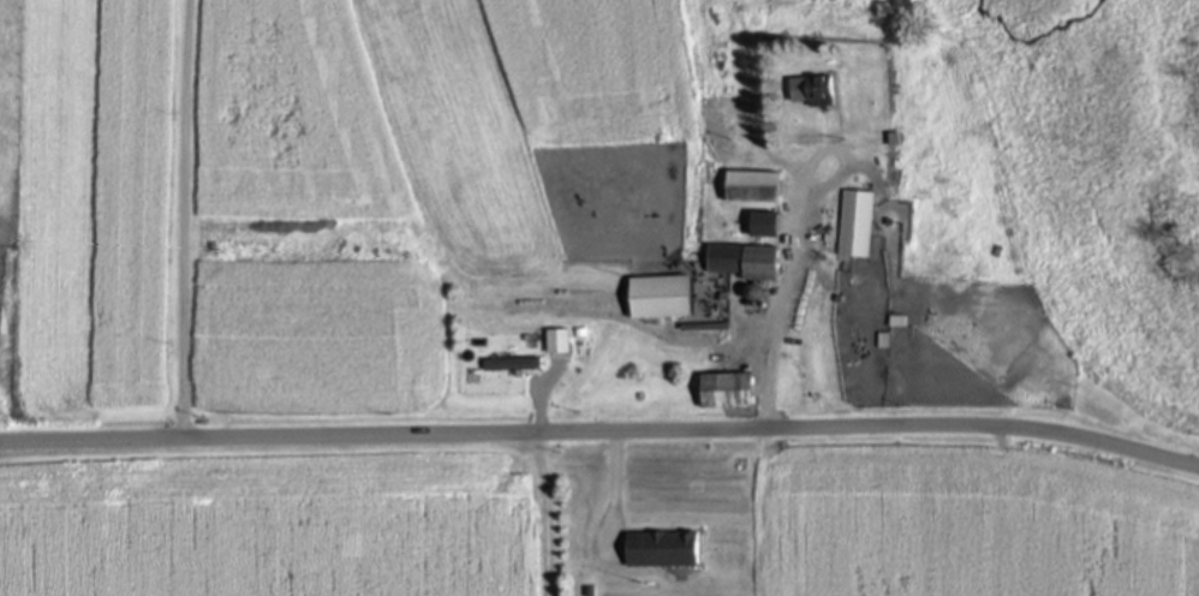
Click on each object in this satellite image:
building: (815, 91)
building: (756, 186)
road: (185, 220)
building: (766, 222)
building: (860, 223)
road: (797, 245)
building: (748, 261)
building: (690, 303)
building: (559, 341)
building: (515, 365)
building: (730, 391)
road: (542, 397)
road: (601, 433)
road: (616, 491)
road: (548, 512)
building: (666, 548)

